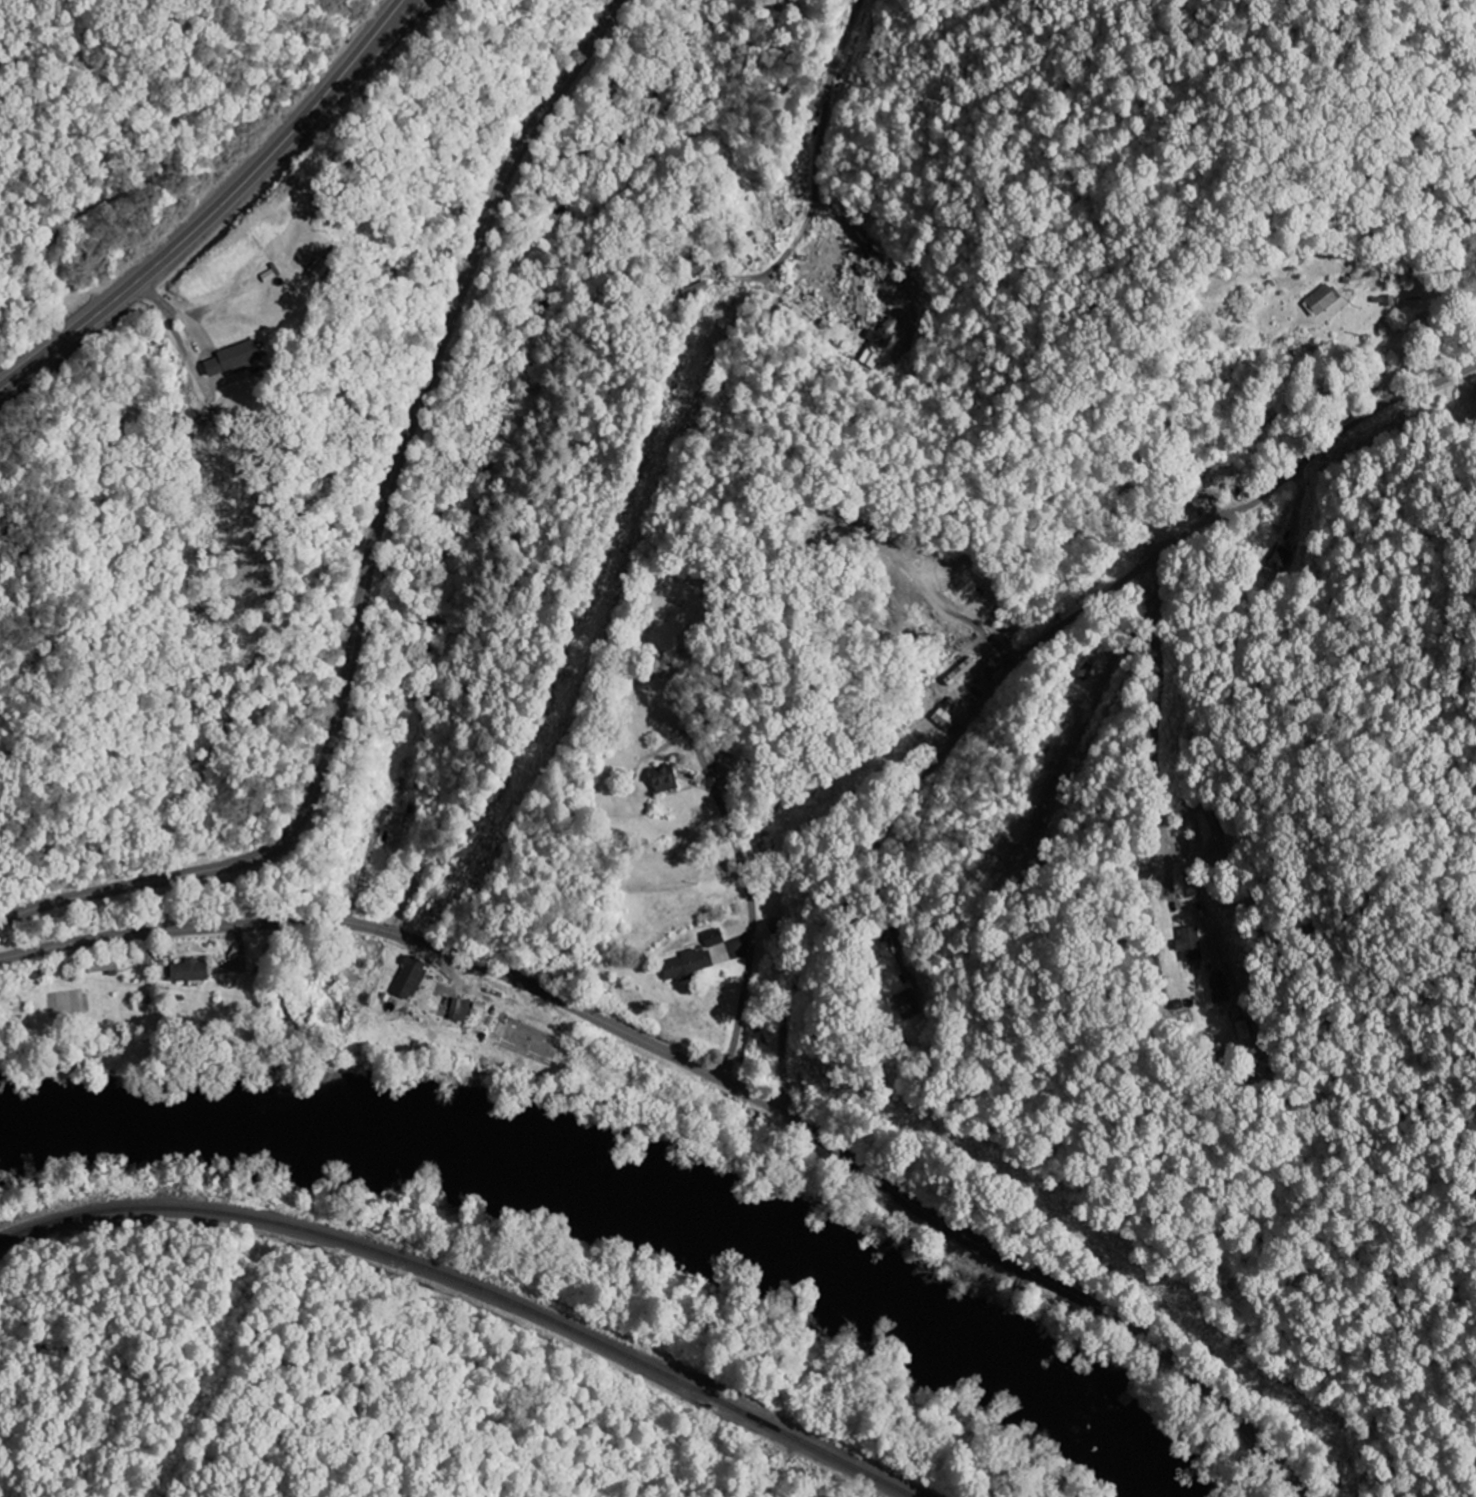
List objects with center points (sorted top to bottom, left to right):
road: (823, 193)
road: (215, 209)
building: (323, 268)
building: (698, 289)
building: (1320, 301)
building: (883, 341)
building: (235, 362)
road: (378, 549)
building: (1280, 557)
road: (1016, 662)
building: (959, 670)
building: (942, 719)
road: (1225, 743)
building: (660, 779)
road: (1064, 794)
road: (752, 923)
building: (713, 938)
building: (1187, 944)
building: (685, 965)
building: (104, 967)
building: (194, 972)
building: (412, 978)
building: (910, 1004)
building: (460, 1011)
building: (1242, 1031)
road: (706, 1072)
river: (618, 1200)
railway: (474, 1286)

